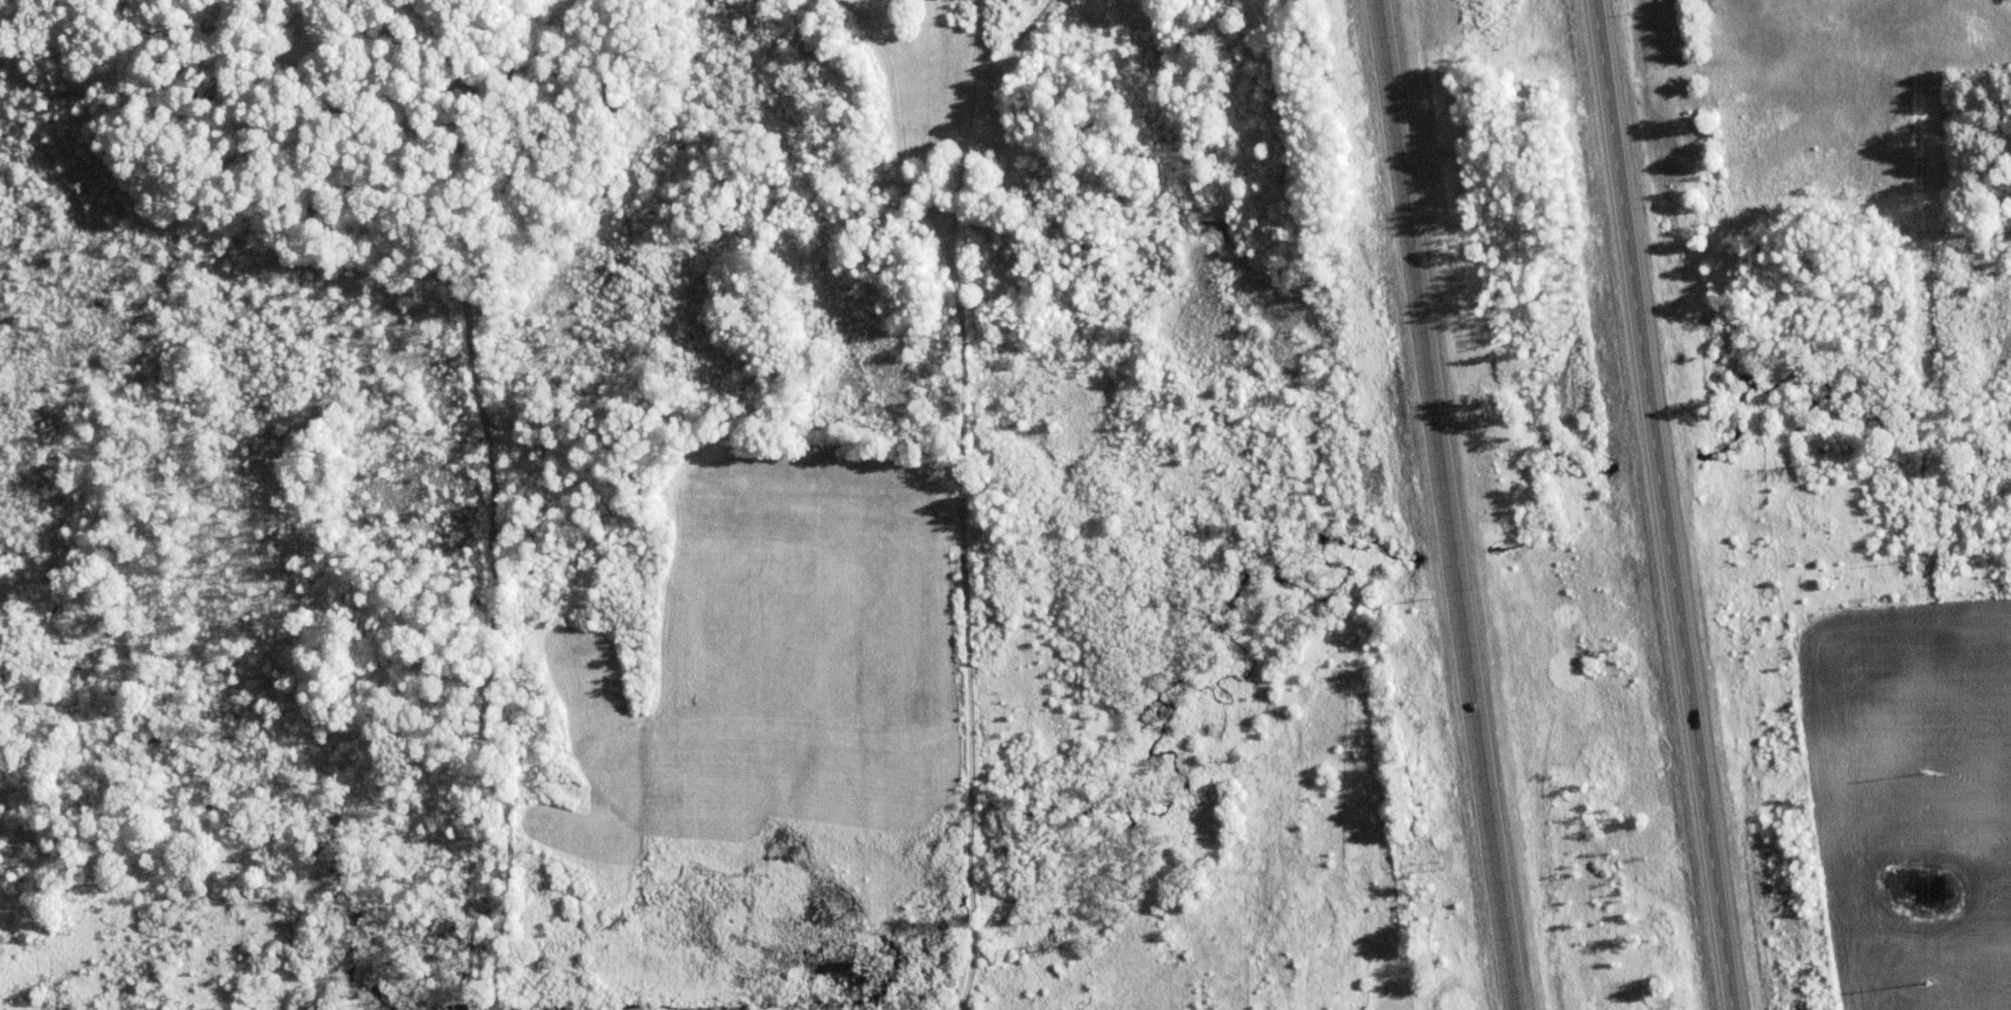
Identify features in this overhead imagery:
building: (1427, 418)
road: (1449, 504)
road: (1651, 505)

